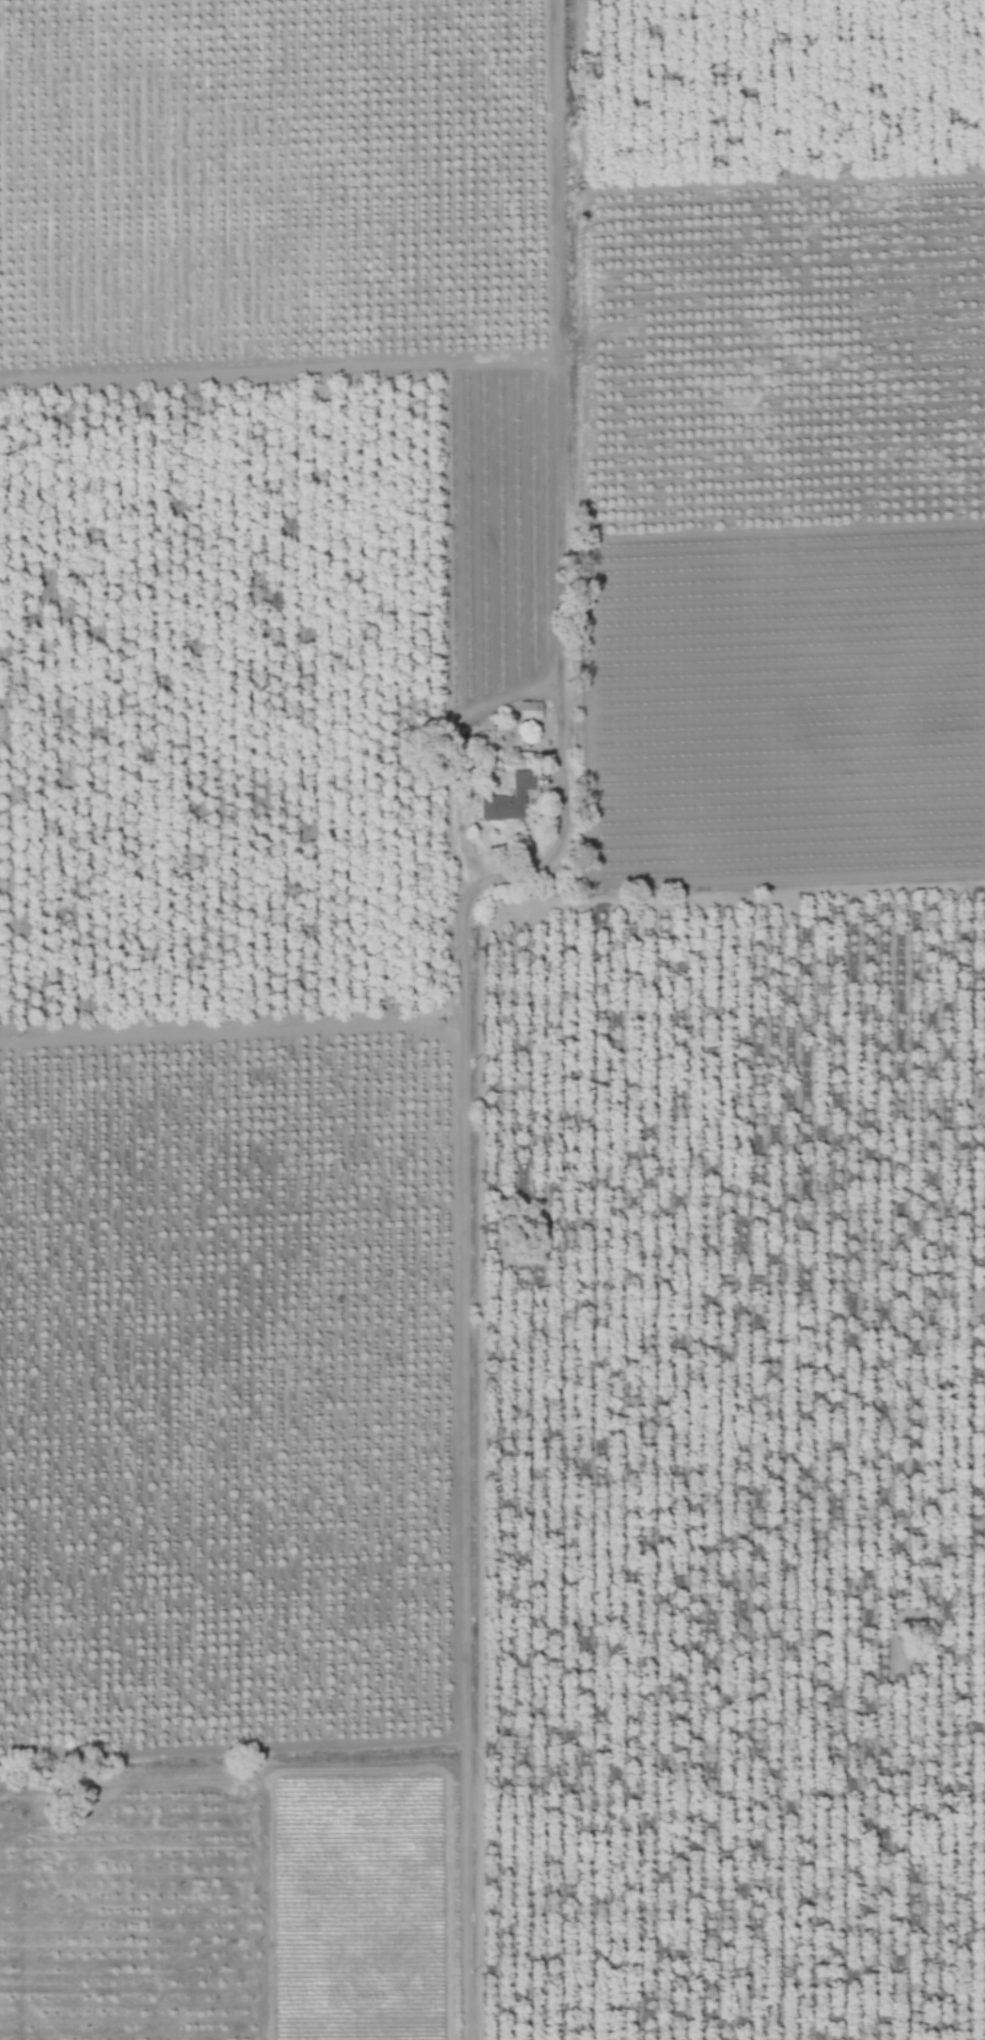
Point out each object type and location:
building: (509, 800)
road: (464, 991)
road: (238, 1030)

